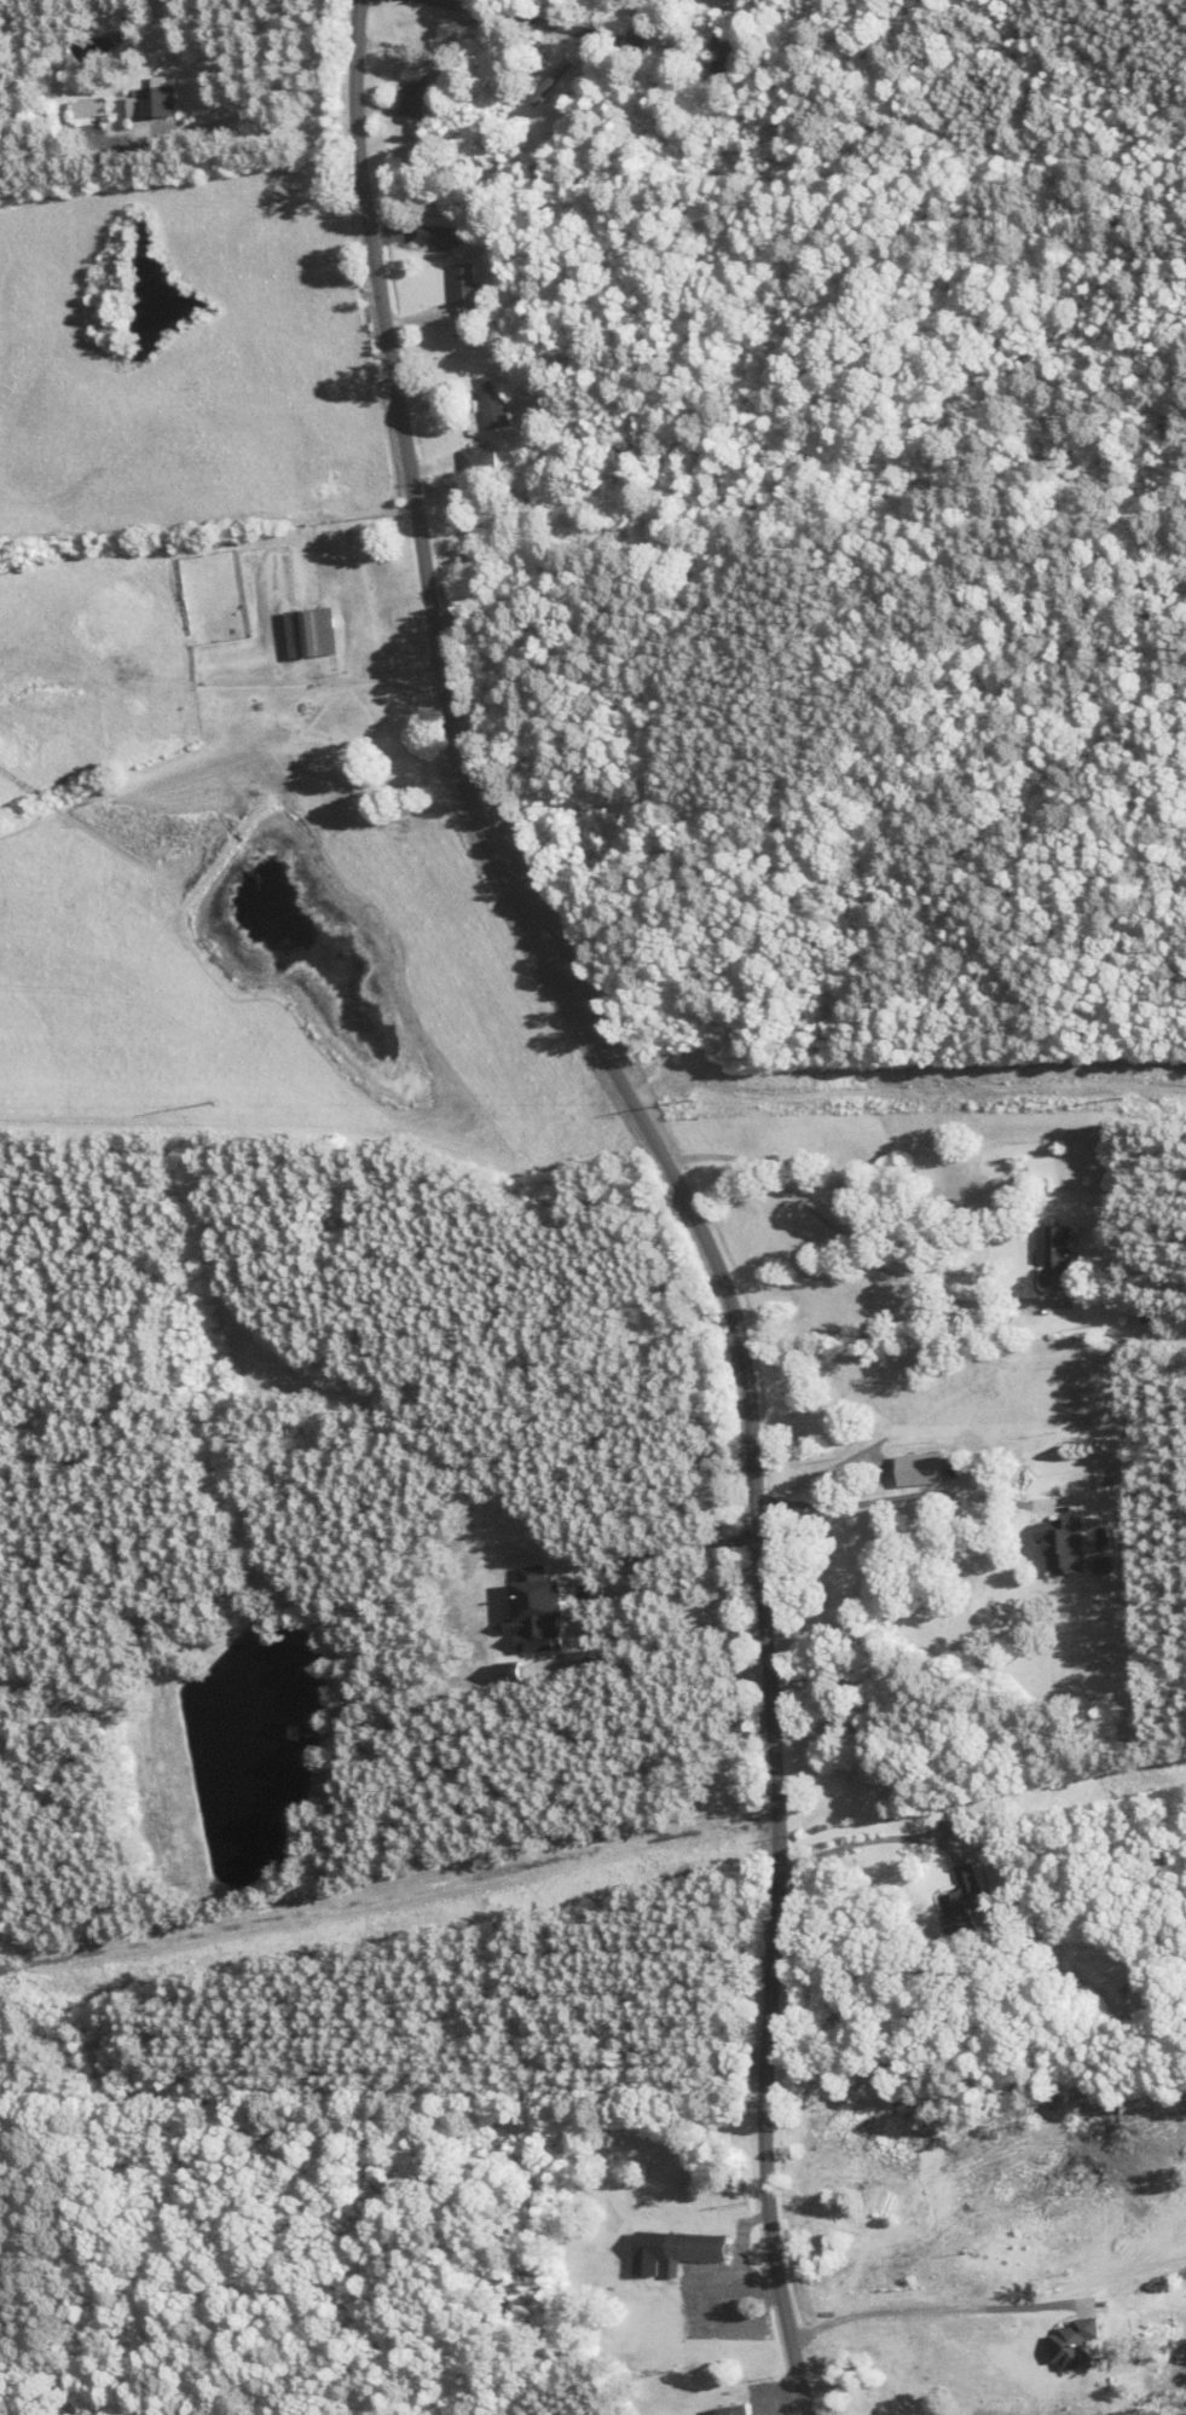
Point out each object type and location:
building: (595, 2)
road: (548, 27)
building: (725, 59)
building: (554, 81)
building: (413, 99)
building: (435, 235)
building: (465, 291)
building: (494, 403)
building: (479, 460)
building: (539, 503)
building: (471, 556)
building: (312, 631)
road: (679, 1184)
building: (1054, 1255)
building: (1061, 1543)
building: (961, 1907)
building: (1107, 1917)
building: (679, 2247)
building: (737, 2407)

